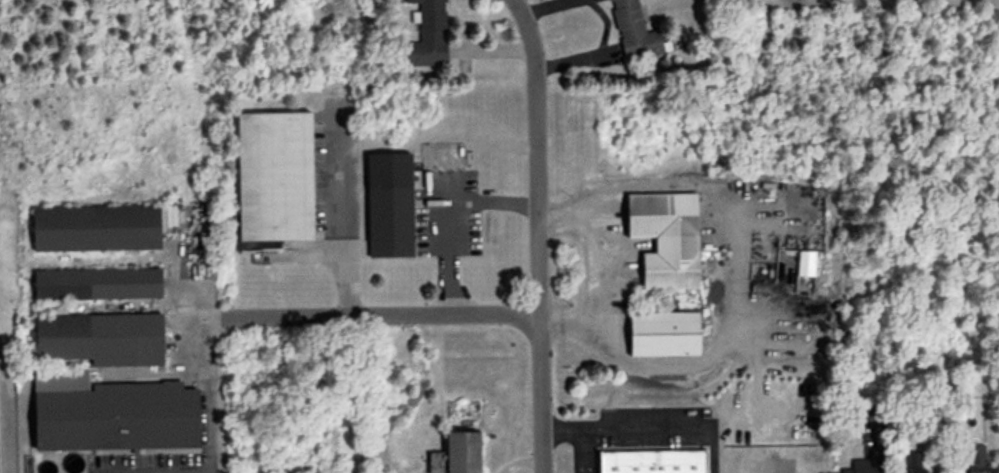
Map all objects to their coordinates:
building: (633, 30)
building: (428, 36)
building: (271, 180)
road: (344, 212)
road: (448, 212)
building: (388, 222)
building: (92, 228)
road: (537, 234)
building: (664, 238)
building: (94, 284)
road: (372, 313)
building: (662, 334)
building: (97, 339)
road: (208, 395)
building: (108, 413)
road: (578, 435)
building: (460, 452)
building: (971, 458)
building: (649, 461)
building: (914, 463)
building: (751, 466)
building: (861, 466)

